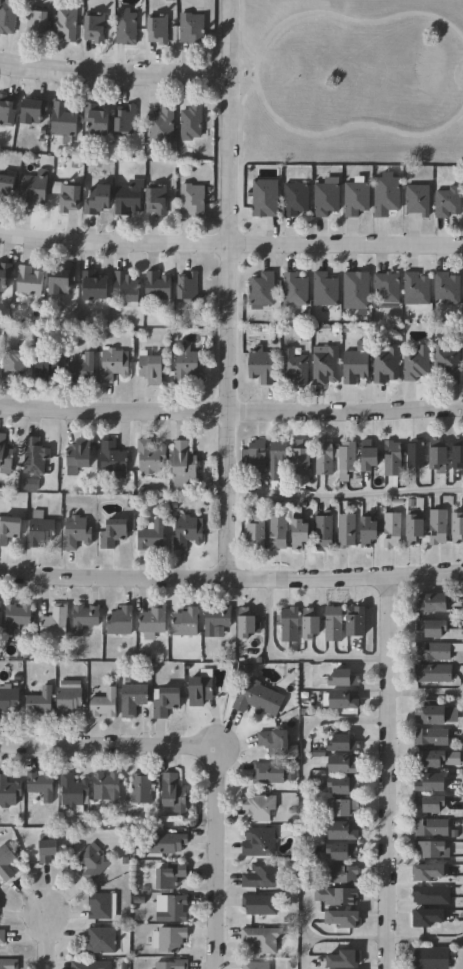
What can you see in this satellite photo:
building: (8, 16)
building: (37, 23)
building: (65, 24)
building: (125, 27)
building: (157, 28)
building: (191, 28)
building: (94, 29)
road: (240, 33)
road: (114, 73)
road: (254, 73)
park: (349, 82)
building: (8, 109)
building: (33, 112)
building: (98, 119)
building: (63, 120)
building: (125, 120)
road: (239, 121)
building: (190, 123)
building: (161, 126)
building: (7, 184)
building: (32, 189)
building: (67, 196)
building: (385, 196)
building: (264, 198)
building: (126, 199)
building: (192, 199)
building: (295, 199)
building: (326, 199)
building: (356, 199)
building: (98, 200)
building: (156, 200)
building: (417, 200)
building: (448, 202)
building: (462, 204)
road: (231, 244)
building: (4, 275)
building: (61, 281)
building: (29, 282)
building: (94, 287)
building: (387, 287)
building: (158, 288)
building: (187, 288)
building: (417, 288)
building: (447, 288)
building: (127, 289)
road: (229, 289)
building: (462, 289)
building: (295, 290)
building: (325, 290)
building: (261, 291)
building: (356, 291)
building: (461, 358)
building: (447, 360)
building: (416, 363)
building: (385, 364)
building: (13, 365)
building: (49, 365)
building: (113, 365)
building: (324, 365)
building: (356, 365)
building: (261, 366)
building: (187, 367)
building: (295, 367)
building: (82, 369)
building: (152, 370)
road: (231, 417)
building: (458, 452)
building: (415, 454)
building: (5, 457)
building: (35, 457)
building: (79, 457)
building: (150, 457)
building: (370, 457)
building: (439, 457)
building: (255, 458)
building: (325, 458)
building: (112, 459)
building: (393, 459)
building: (276, 460)
building: (346, 461)
building: (302, 462)
building: (184, 466)
road: (346, 494)
building: (438, 528)
building: (457, 528)
building: (10, 530)
building: (346, 530)
building: (415, 530)
building: (277, 531)
building: (391, 531)
building: (40, 533)
building: (186, 533)
building: (250, 533)
building: (369, 533)
building: (75, 534)
building: (322, 534)
building: (113, 535)
building: (259, 535)
building: (301, 535)
building: (151, 537)
road: (231, 577)
building: (435, 602)
building: (16, 618)
building: (83, 619)
building: (216, 619)
building: (358, 621)
building: (120, 622)
building: (153, 622)
building: (349, 622)
building: (333, 623)
building: (53, 624)
building: (186, 624)
building: (288, 625)
building: (248, 626)
building: (312, 626)
building: (434, 627)
building: (437, 650)
road: (292, 657)
building: (434, 673)
building: (345, 677)
building: (200, 688)
road: (426, 693)
building: (251, 696)
building: (133, 698)
building: (342, 699)
building: (8, 701)
building: (68, 701)
building: (165, 701)
building: (39, 704)
building: (104, 704)
building: (437, 712)
building: (431, 736)
building: (276, 741)
building: (344, 742)
road: (216, 749)
building: (433, 757)
building: (345, 764)
road: (389, 772)
building: (269, 773)
building: (434, 782)
building: (344, 784)
building: (41, 785)
building: (108, 786)
building: (140, 787)
building: (74, 791)
building: (173, 791)
building: (9, 792)
building: (432, 803)
road: (302, 805)
building: (260, 807)
building: (341, 807)
building: (431, 827)
building: (345, 830)
building: (260, 841)
building: (167, 843)
building: (433, 848)
building: (48, 850)
building: (341, 850)
building: (6, 862)
building: (92, 862)
building: (170, 874)
building: (339, 874)
building: (262, 876)
building: (337, 895)
building: (432, 895)
building: (260, 905)
building: (102, 906)
building: (174, 910)
building: (431, 916)
building: (2, 936)
road: (48, 937)
building: (168, 939)
building: (262, 939)
road: (345, 939)
building: (101, 940)
building: (431, 958)
building: (336, 960)
building: (7, 964)
building: (172, 964)
building: (90, 965)
building: (256, 965)

